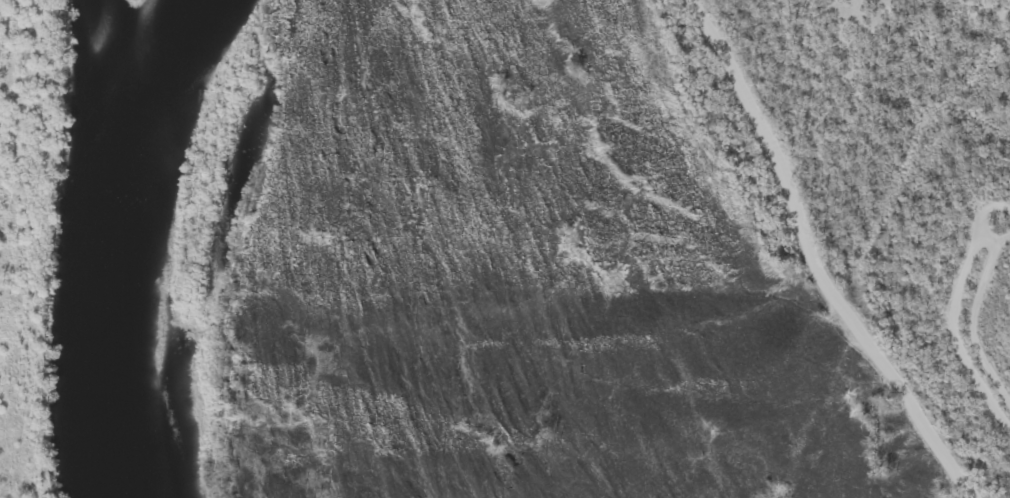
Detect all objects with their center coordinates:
river: (151, 249)
road: (824, 260)
road: (961, 320)

